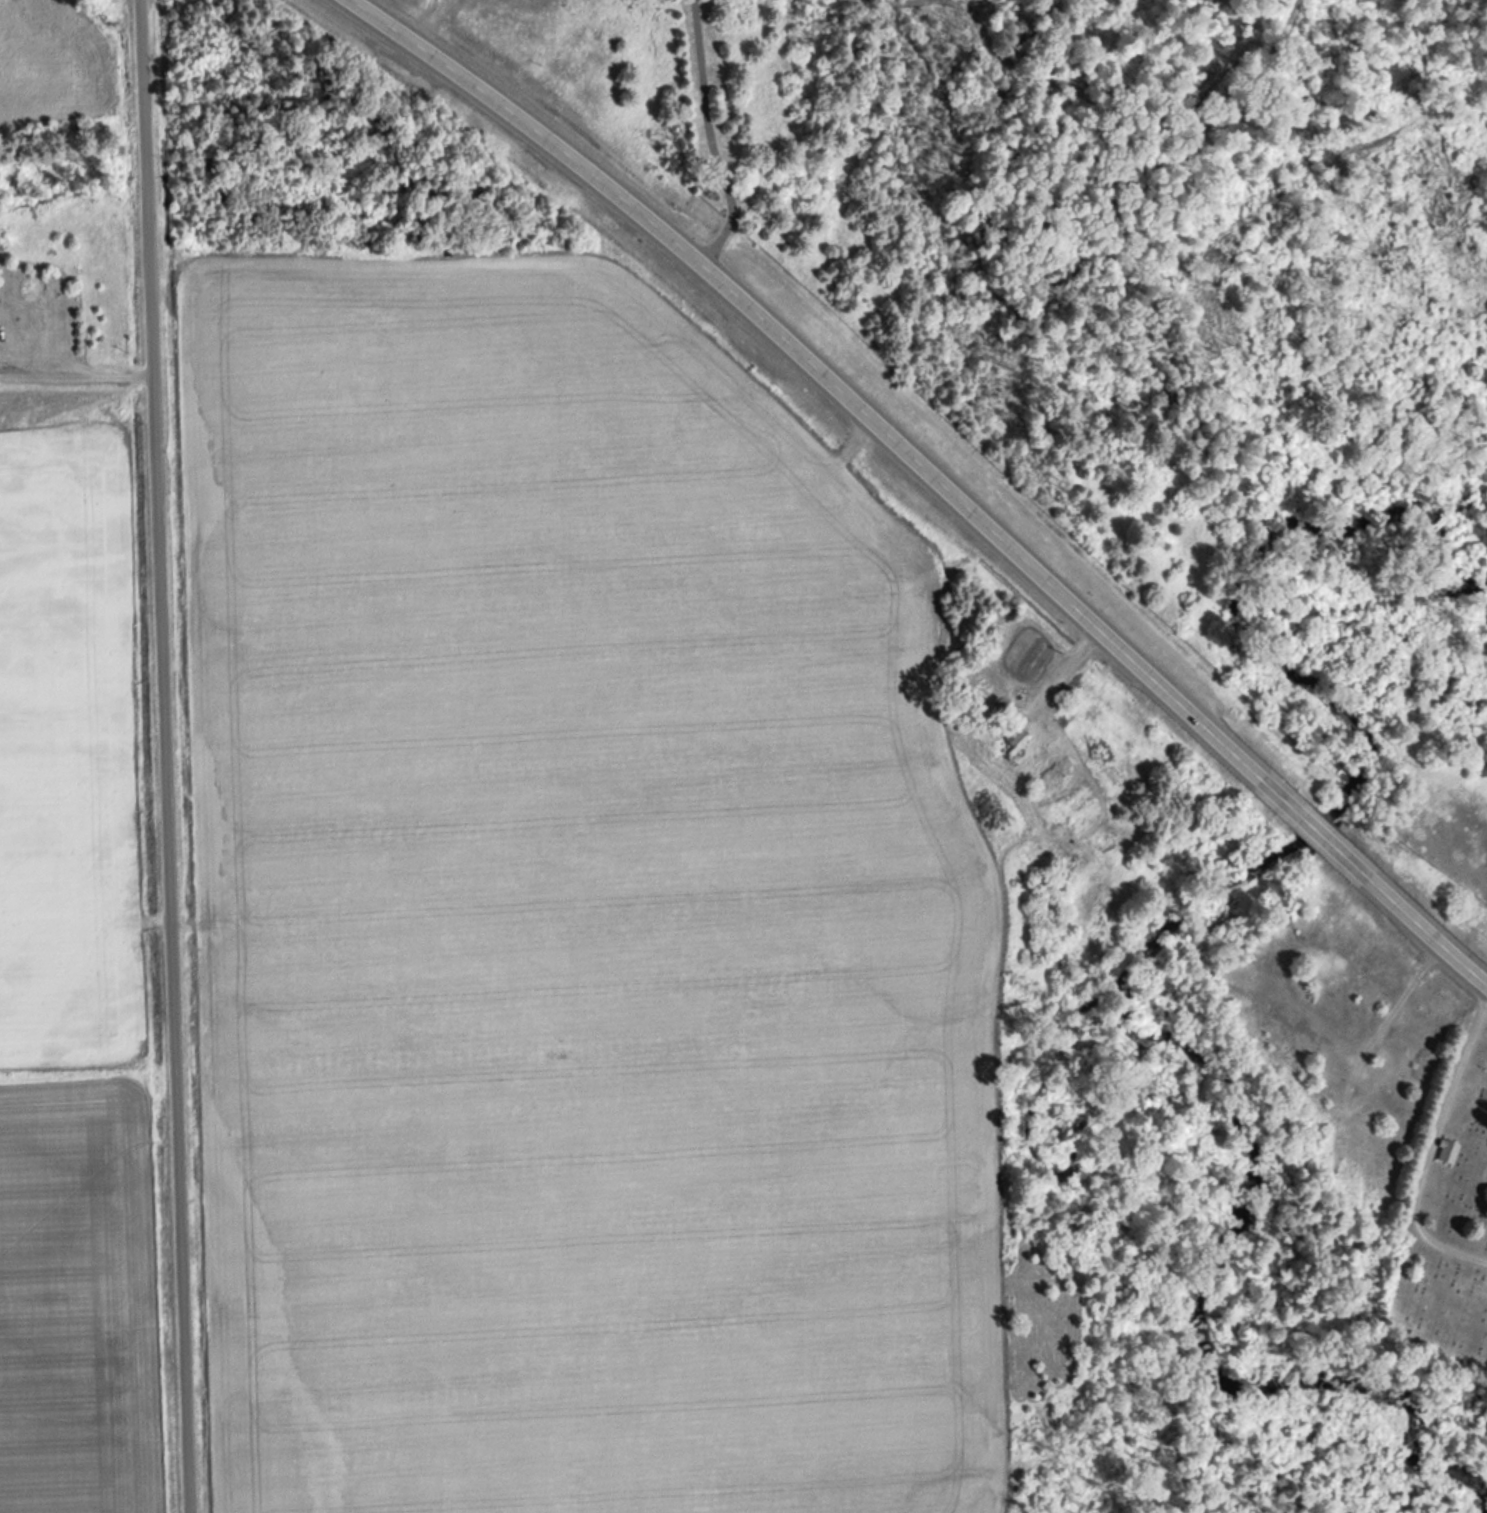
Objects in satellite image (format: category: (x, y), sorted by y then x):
road: (711, 138)
road: (931, 476)
river: (1272, 612)
building: (986, 688)
building: (1014, 736)
road: (157, 756)
river: (1315, 831)
crop: (570, 923)
crop: (75, 993)
road: (1427, 1146)
building: (1446, 1151)
river: (1244, 1200)
park: (1444, 1229)

